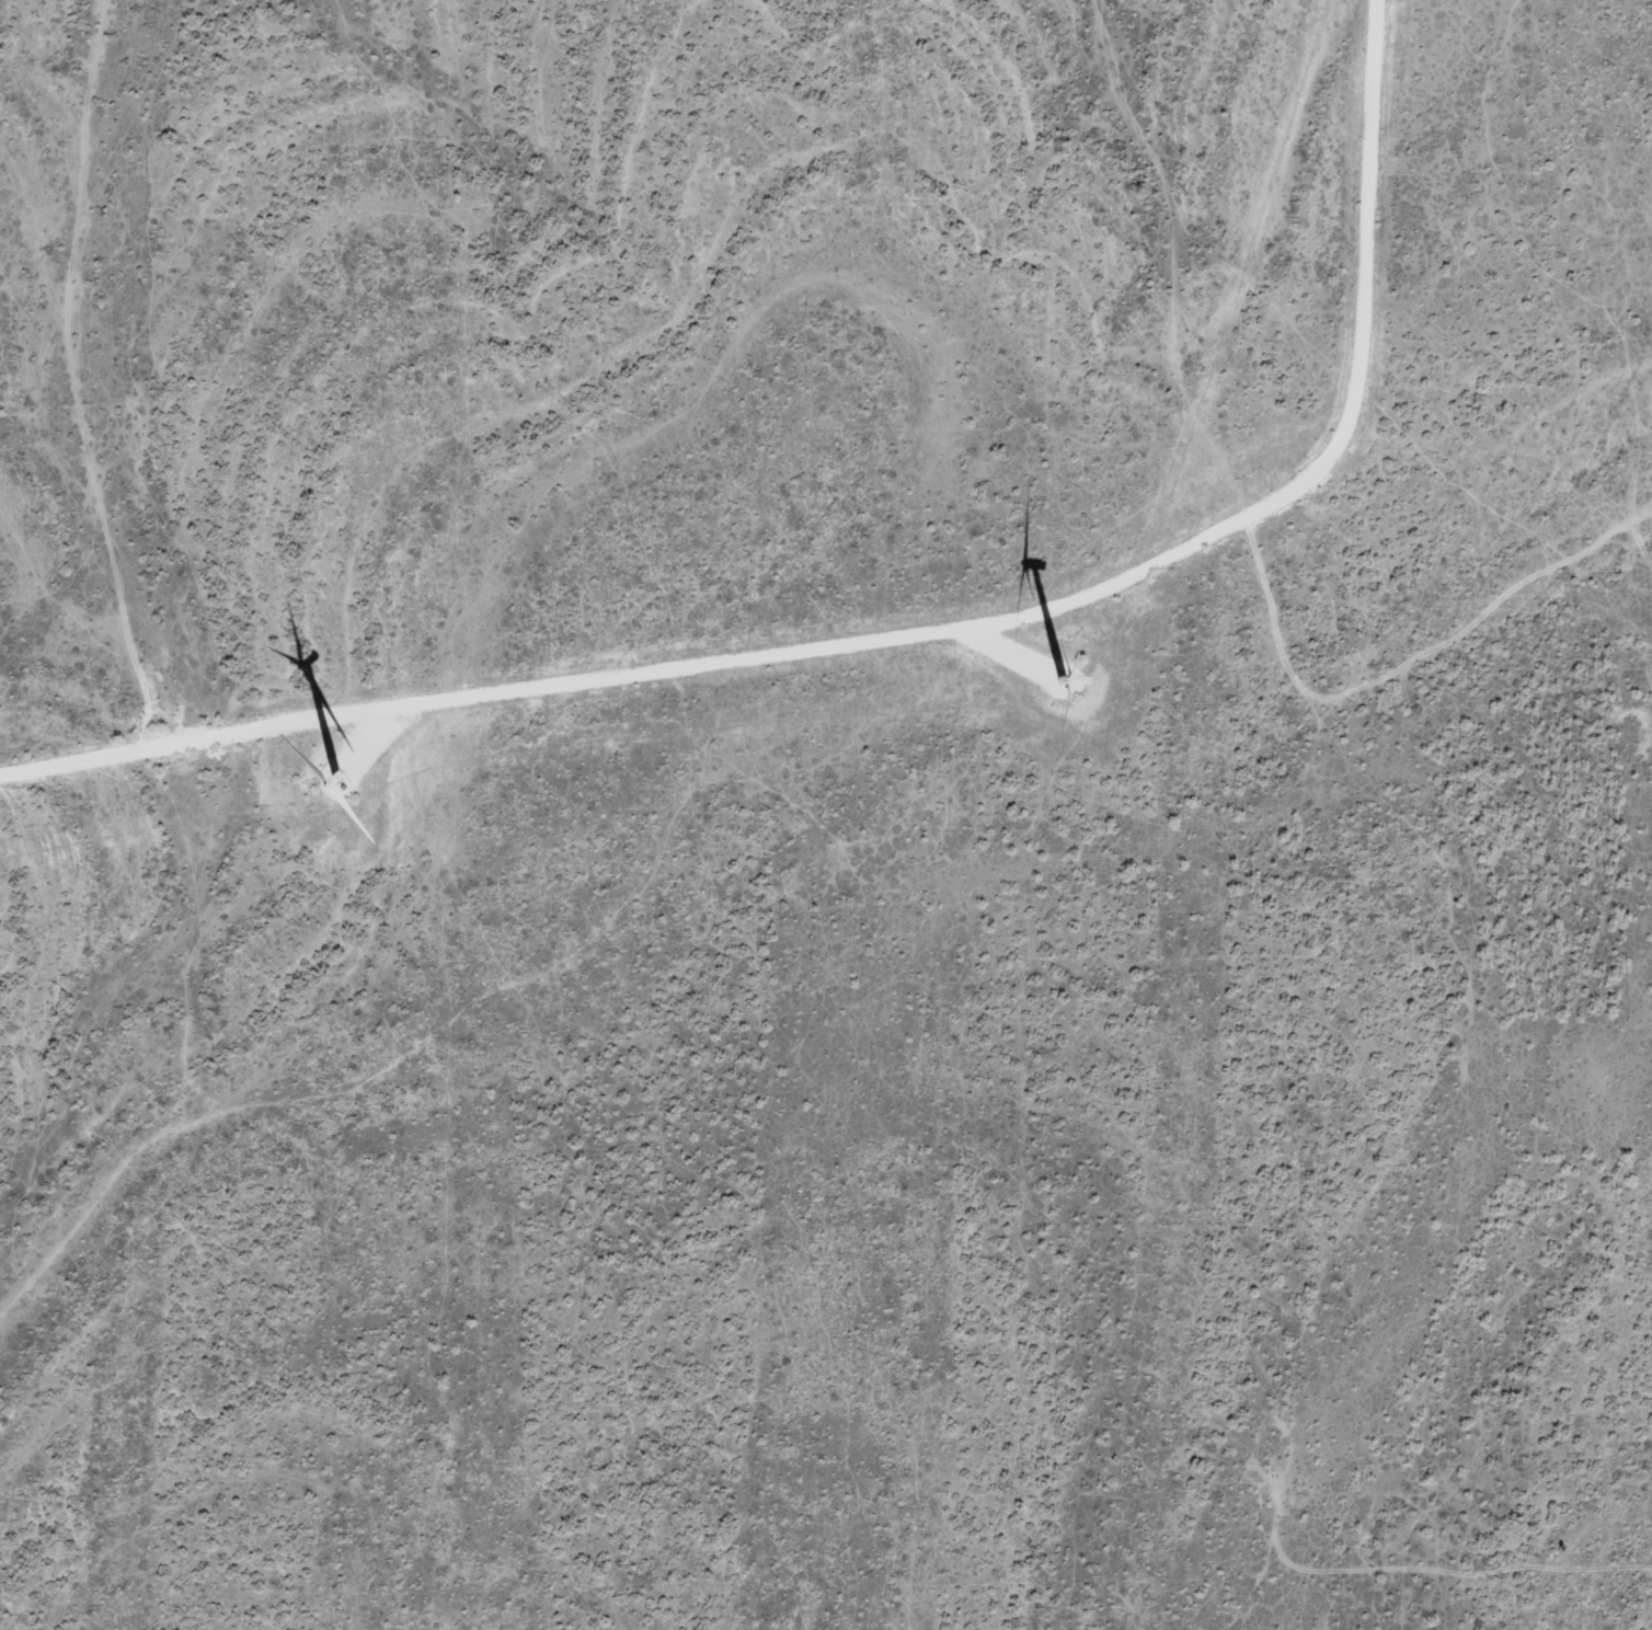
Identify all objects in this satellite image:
road: (914, 633)
wind turbine: (1059, 670)
wind turbine: (319, 773)

